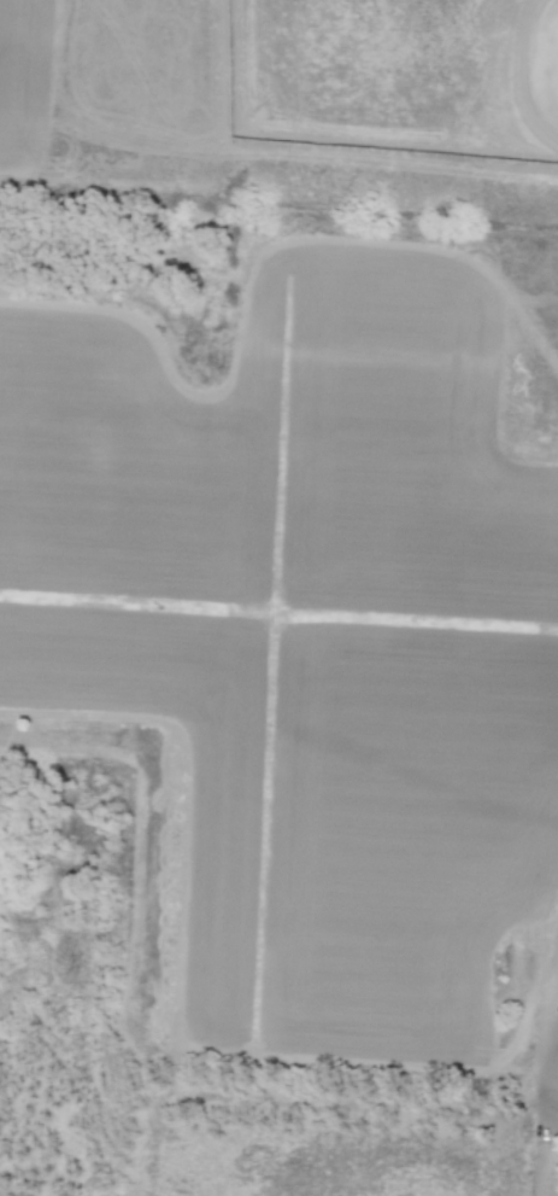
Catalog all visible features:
road: (554, 1084)
road: (554, 1114)

